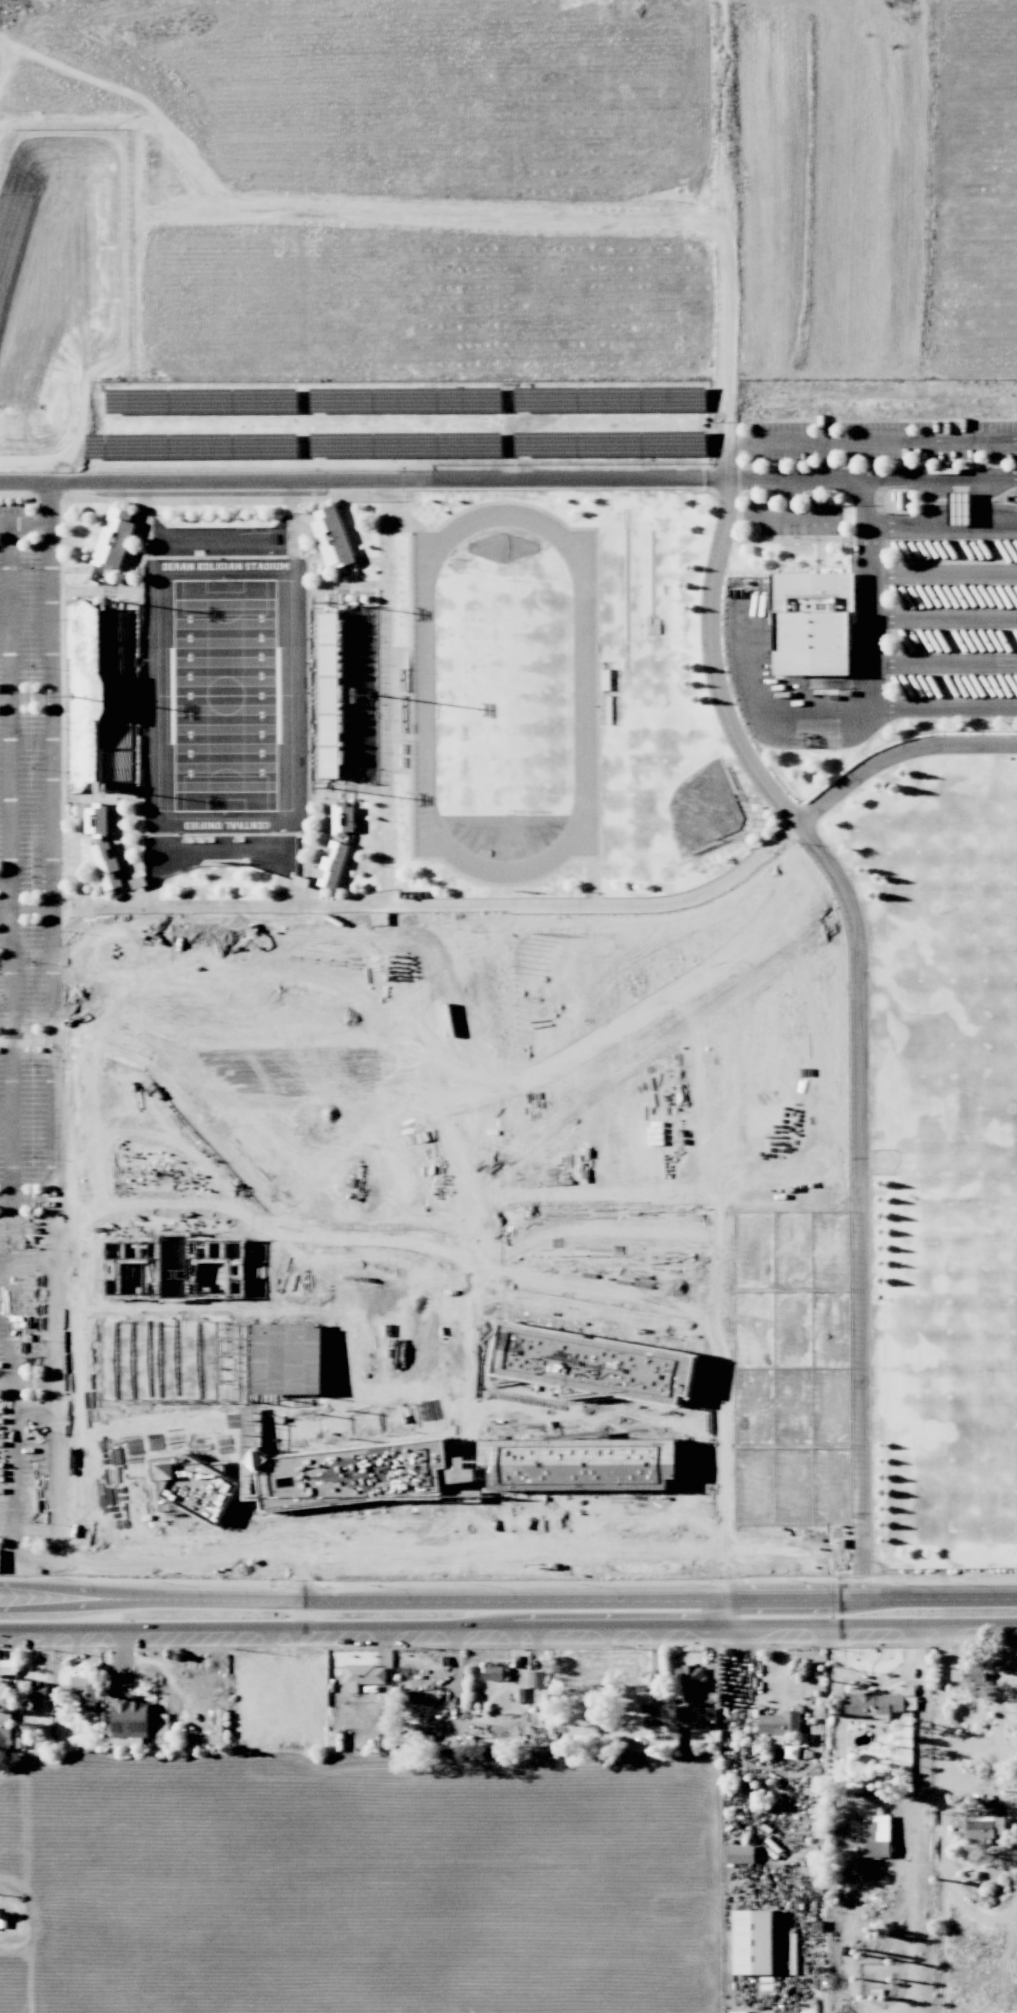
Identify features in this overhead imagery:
road: (873, 441)
road: (874, 475)
road: (365, 483)
road: (865, 502)
building: (959, 508)
road: (770, 515)
road: (795, 515)
road: (25, 519)
road: (941, 529)
building: (332, 538)
building: (114, 539)
road: (942, 573)
road: (942, 620)
building: (814, 627)
road: (943, 664)
track: (584, 693)
road: (385, 694)
road: (869, 695)
road: (53, 696)
road: (9, 700)
road: (768, 716)
road: (896, 754)
building: (94, 817)
building: (343, 820)
building: (333, 865)
building: (107, 867)
road: (10, 890)
road: (449, 905)
road: (38, 908)
road: (11, 929)
road: (856, 991)
road: (55, 1240)
road: (13, 1246)
building: (596, 1366)
building: (354, 1474)
road: (27, 1555)
road: (212, 1563)
road: (78, 1600)
road: (948, 1600)
road: (518, 1603)
road: (720, 1613)
road: (508, 1625)
building: (7, 1666)
building: (496, 1672)
building: (963, 1675)
building: (363, 1676)
building: (535, 1679)
building: (85, 1692)
building: (35, 1694)
building: (696, 1694)
building: (874, 1704)
road: (942, 1710)
building: (130, 1716)
building: (780, 1726)
building: (162, 1727)
road: (923, 1747)
building: (869, 1781)
building: (985, 1827)
building: (877, 1836)
building: (740, 1854)
building: (753, 1942)

